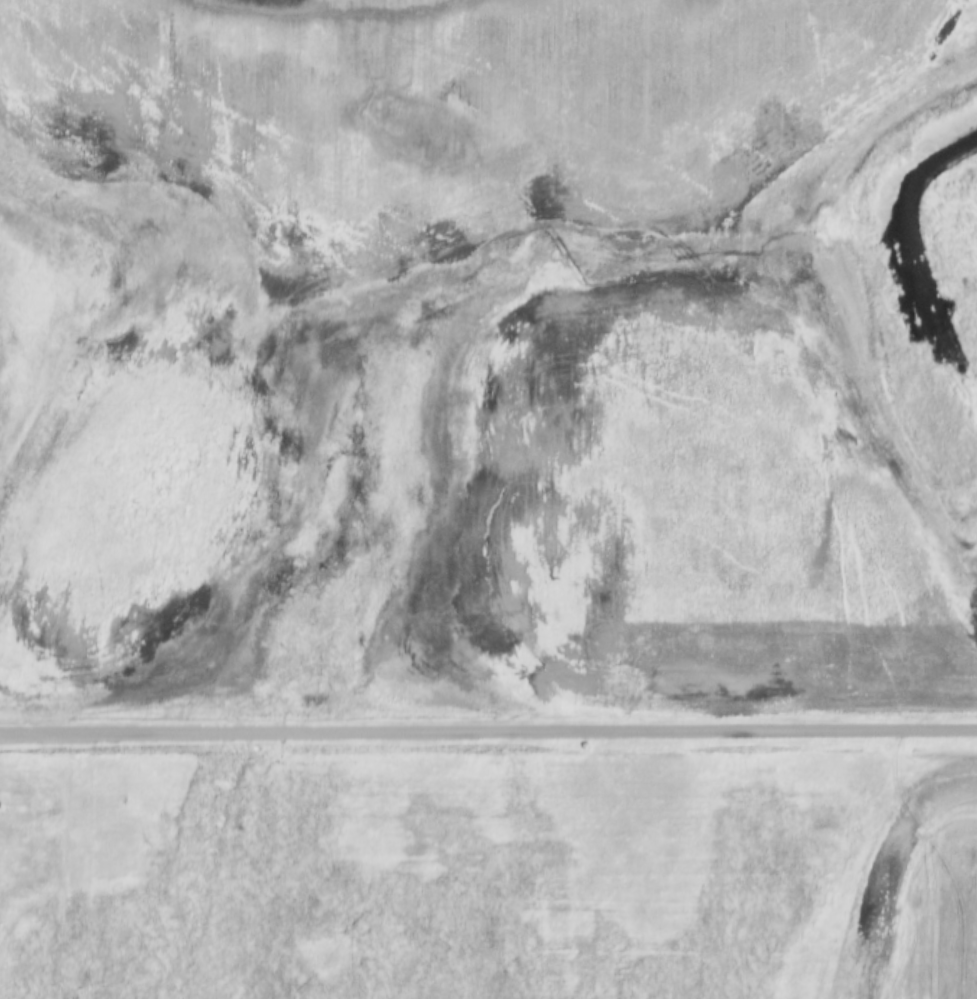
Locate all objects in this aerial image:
road: (488, 731)

